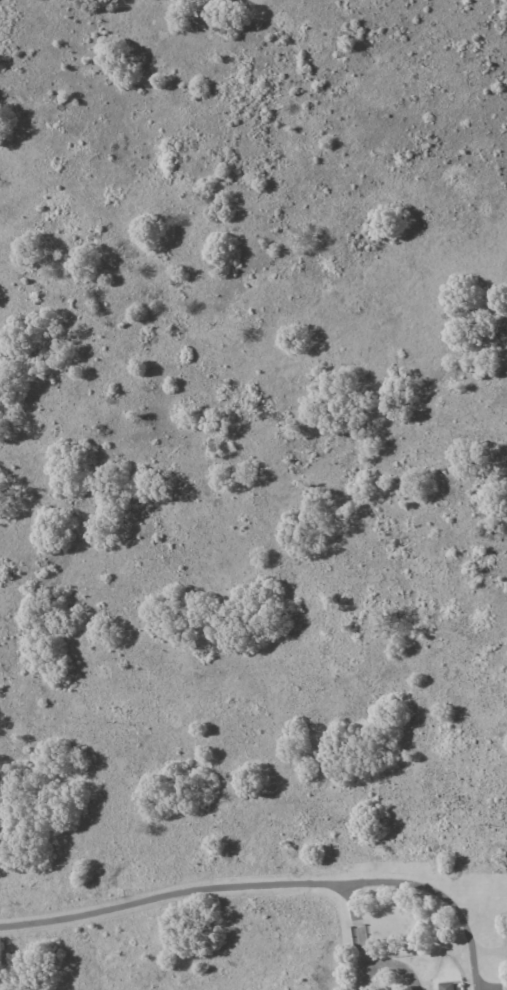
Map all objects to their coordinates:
road: (223, 885)
road: (437, 893)
building: (448, 987)

